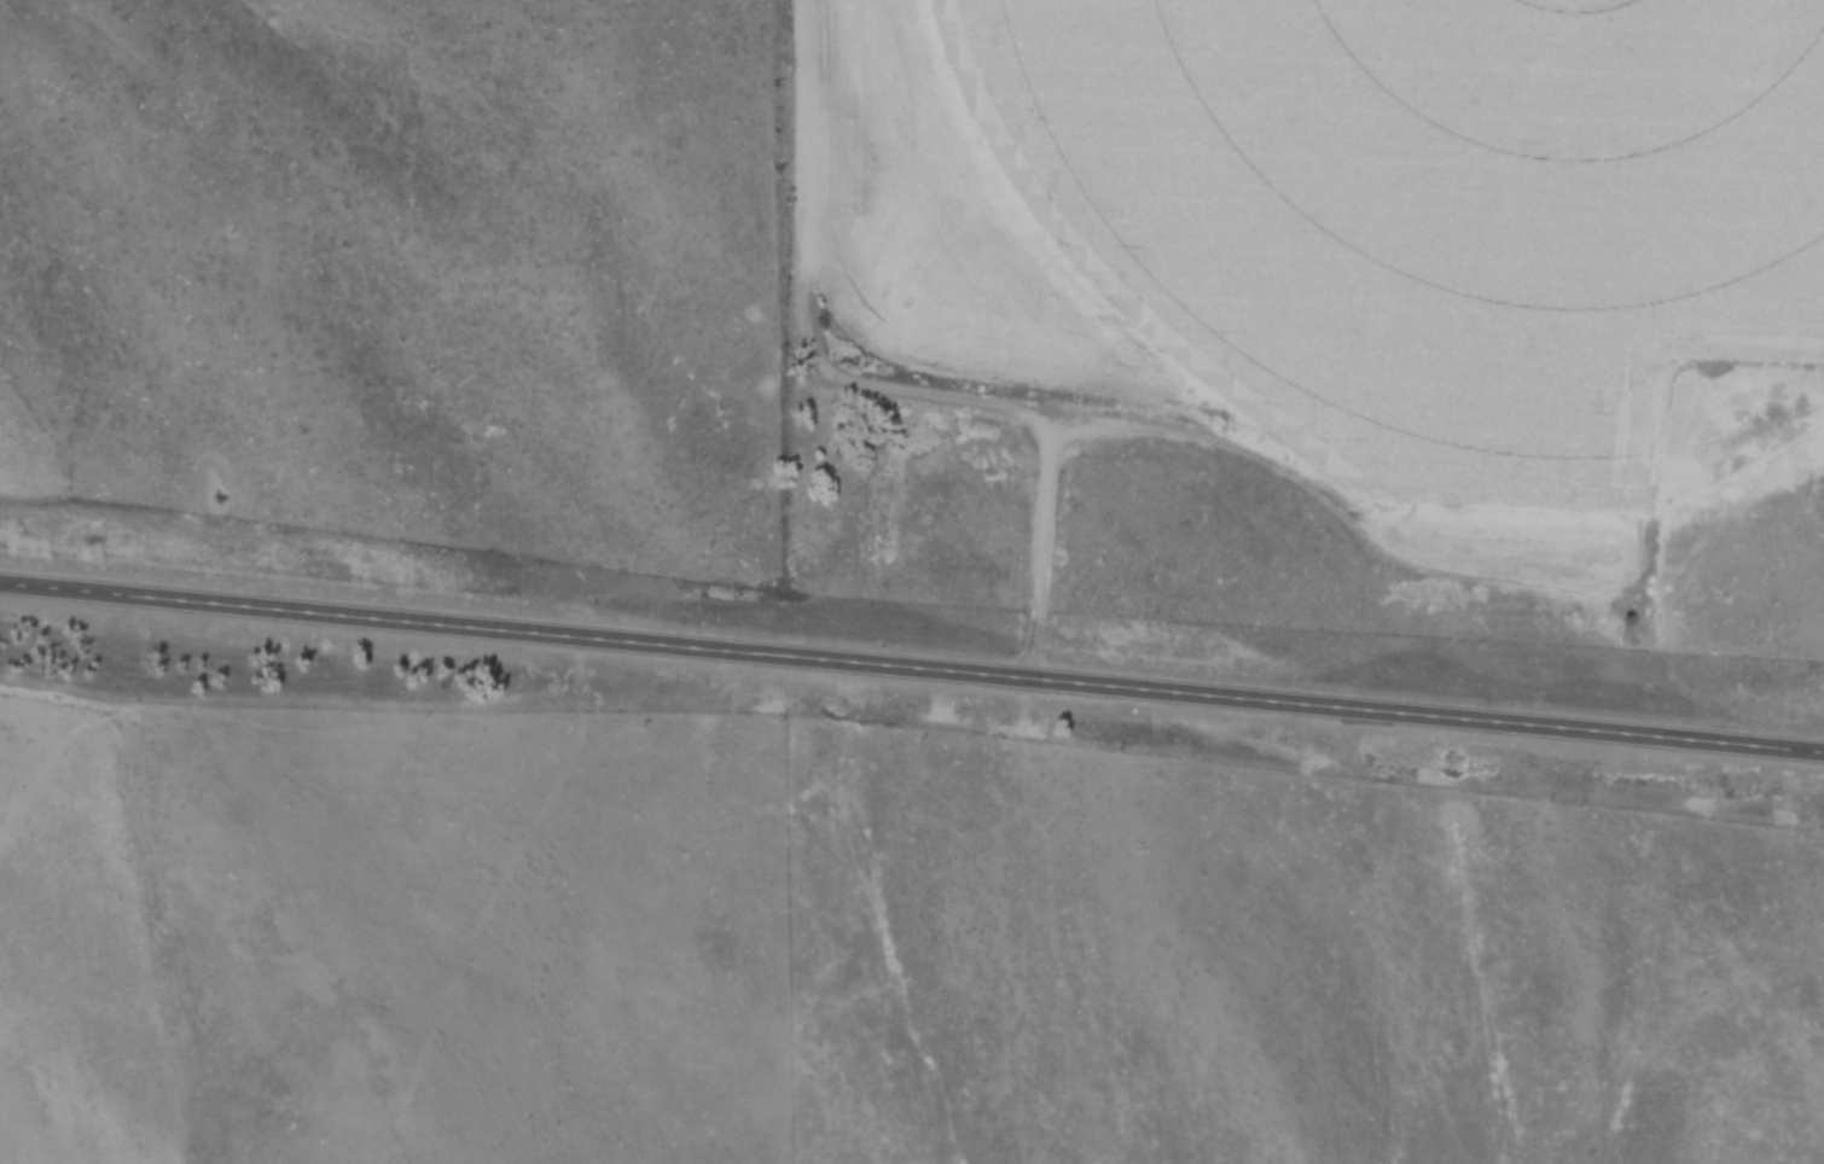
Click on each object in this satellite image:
road: (912, 670)

